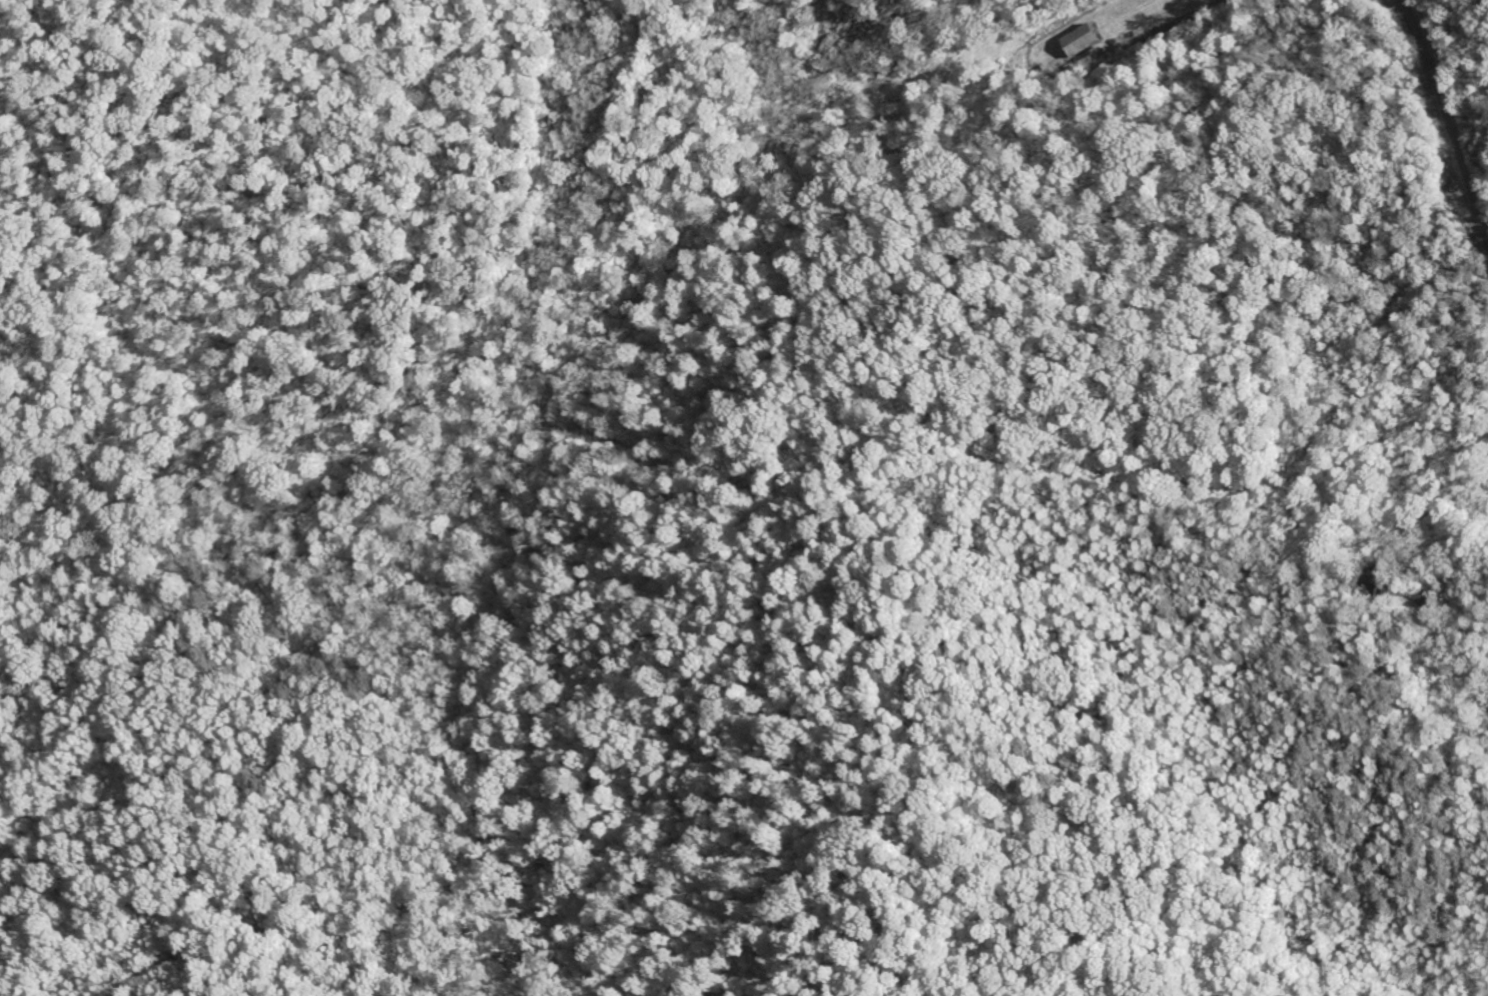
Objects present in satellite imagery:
building: (1080, 41)

